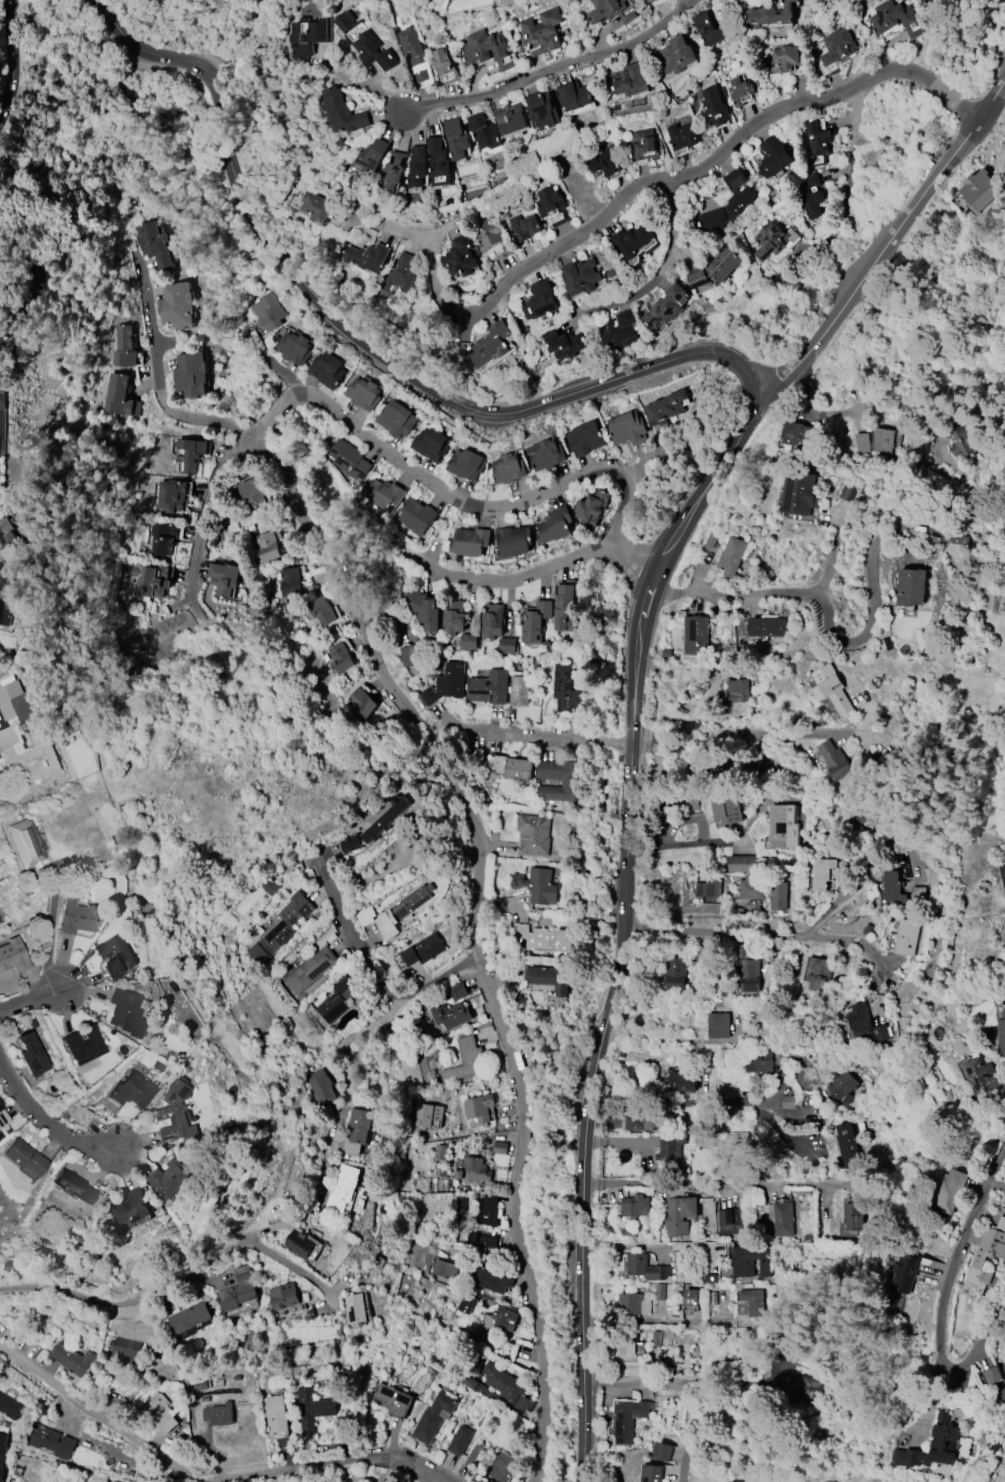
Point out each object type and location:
building: (648, 1)
building: (609, 11)
building: (770, 14)
building: (894, 19)
building: (709, 29)
building: (540, 32)
building: (307, 36)
building: (364, 42)
building: (837, 46)
building: (486, 49)
road: (6, 53)
building: (414, 54)
building: (675, 55)
building: (780, 60)
building: (443, 66)
road: (549, 69)
building: (631, 81)
road: (358, 84)
building: (738, 90)
building: (572, 96)
building: (714, 105)
building: (541, 110)
building: (343, 112)
building: (510, 118)
building: (482, 131)
building: (682, 136)
building: (455, 138)
road: (852, 138)
building: (818, 142)
building: (644, 145)
building: (371, 156)
building: (773, 157)
road: (717, 159)
building: (603, 162)
building: (437, 163)
building: (416, 167)
building: (393, 170)
building: (980, 189)
building: (810, 195)
building: (728, 203)
building: (551, 206)
building: (315, 207)
building: (524, 227)
building: (489, 234)
building: (769, 240)
building: (634, 243)
road: (884, 244)
building: (155, 245)
building: (367, 257)
building: (460, 257)
building: (722, 264)
road: (659, 269)
building: (400, 274)
building: (580, 277)
building: (697, 279)
road: (34, 282)
road: (436, 284)
building: (540, 300)
building: (177, 305)
building: (665, 307)
building: (267, 312)
building: (620, 330)
road: (352, 334)
building: (563, 343)
building: (489, 345)
building: (124, 347)
building: (295, 347)
road: (271, 364)
building: (326, 370)
building: (191, 375)
road: (156, 379)
building: (362, 393)
building: (119, 396)
building: (2, 400)
building: (665, 407)
road: (854, 411)
building: (395, 419)
building: (626, 428)
building: (798, 434)
building: (584, 439)
building: (883, 440)
building: (961, 442)
building: (430, 445)
road: (383, 448)
building: (192, 453)
building: (545, 454)
building: (350, 460)
building: (465, 465)
road: (641, 467)
building: (507, 469)
building: (251, 493)
building: (383, 493)
building: (800, 493)
building: (171, 496)
building: (590, 508)
building: (417, 516)
building: (554, 525)
building: (8, 538)
building: (163, 538)
building: (470, 541)
building: (513, 541)
building: (267, 547)
building: (732, 556)
building: (223, 578)
building: (151, 581)
building: (289, 582)
road: (506, 582)
building: (911, 587)
road: (764, 595)
building: (7, 599)
building: (565, 607)
building: (424, 608)
building: (321, 610)
building: (453, 618)
building: (492, 621)
building: (535, 621)
building: (766, 627)
building: (696, 635)
building: (468, 641)
road: (842, 641)
building: (506, 645)
building: (411, 655)
building: (340, 658)
building: (445, 684)
building: (488, 687)
building: (565, 689)
building: (831, 689)
building: (738, 690)
building: (518, 691)
building: (17, 702)
building: (362, 702)
road: (804, 732)
road: (541, 739)
building: (26, 757)
building: (835, 760)
building: (518, 769)
building: (568, 782)
building: (689, 803)
building: (727, 811)
building: (375, 826)
building: (782, 826)
building: (533, 835)
building: (25, 843)
building: (687, 859)
building: (743, 864)
building: (823, 873)
building: (537, 885)
building: (269, 886)
road: (863, 886)
building: (750, 888)
building: (894, 888)
building: (707, 889)
building: (918, 894)
building: (778, 896)
building: (402, 910)
building: (77, 915)
road: (621, 925)
building: (280, 928)
road: (49, 929)
road: (763, 933)
road: (471, 935)
building: (906, 937)
building: (544, 940)
building: (422, 950)
building: (12, 955)
building: (115, 956)
building: (310, 970)
building: (674, 974)
building: (820, 975)
building: (750, 976)
road: (375, 978)
building: (549, 978)
building: (457, 991)
road: (32, 997)
building: (336, 1000)
building: (124, 1012)
building: (450, 1015)
building: (860, 1019)
building: (718, 1025)
building: (1002, 1030)
building: (880, 1033)
road: (671, 1039)
road: (351, 1041)
building: (83, 1045)
building: (32, 1054)
building: (465, 1061)
building: (761, 1063)
building: (984, 1079)
building: (682, 1081)
building: (321, 1088)
building: (843, 1088)
building: (131, 1090)
building: (790, 1101)
road: (702, 1103)
building: (478, 1108)
building: (176, 1112)
building: (428, 1116)
building: (2, 1117)
building: (636, 1122)
road: (334, 1126)
building: (356, 1131)
road: (45, 1134)
building: (847, 1143)
building: (670, 1147)
building: (499, 1148)
building: (439, 1152)
building: (24, 1157)
building: (476, 1170)
building: (170, 1177)
road: (636, 1182)
building: (73, 1186)
building: (342, 1188)
building: (951, 1191)
building: (634, 1206)
building: (131, 1207)
building: (486, 1211)
building: (679, 1215)
building: (854, 1216)
building: (782, 1219)
building: (731, 1221)
building: (482, 1240)
building: (298, 1244)
building: (987, 1255)
building: (750, 1261)
road: (287, 1265)
building: (645, 1267)
building: (444, 1269)
building: (906, 1274)
building: (490, 1280)
building: (237, 1290)
building: (670, 1292)
road: (942, 1295)
building: (282, 1296)
building: (691, 1297)
road: (138, 1299)
building: (752, 1301)
building: (629, 1303)
building: (467, 1304)
building: (355, 1308)
building: (189, 1318)
road: (651, 1320)
building: (497, 1322)
building: (656, 1338)
building: (626, 1344)
building: (126, 1349)
building: (72, 1359)
building: (1003, 1381)
road: (683, 1383)
building: (506, 1386)
building: (803, 1387)
building: (479, 1388)
building: (392, 1400)
building: (312, 1409)
building: (158, 1413)
building: (218, 1414)
building: (275, 1416)
building: (432, 1417)
building: (628, 1419)
building: (459, 1440)
building: (50, 1441)
building: (932, 1446)
building: (663, 1451)
building: (2, 1453)
building: (472, 1454)
building: (502, 1467)
building: (652, 1473)
road: (206, 1480)

